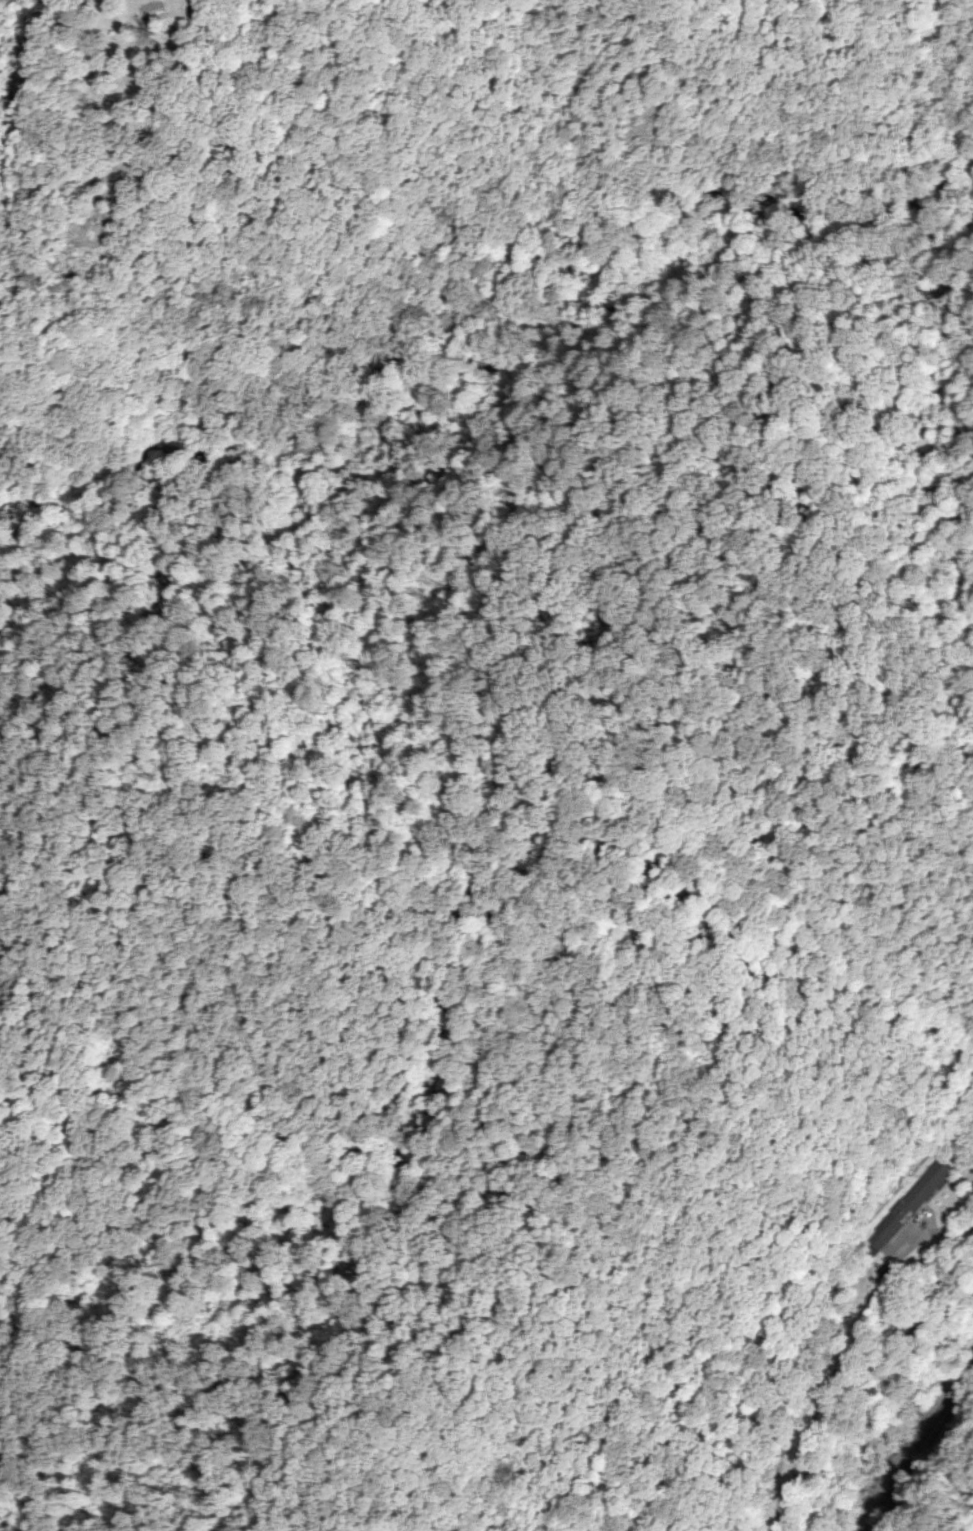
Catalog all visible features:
building: (907, 1202)
road: (940, 1231)
road: (918, 1451)

